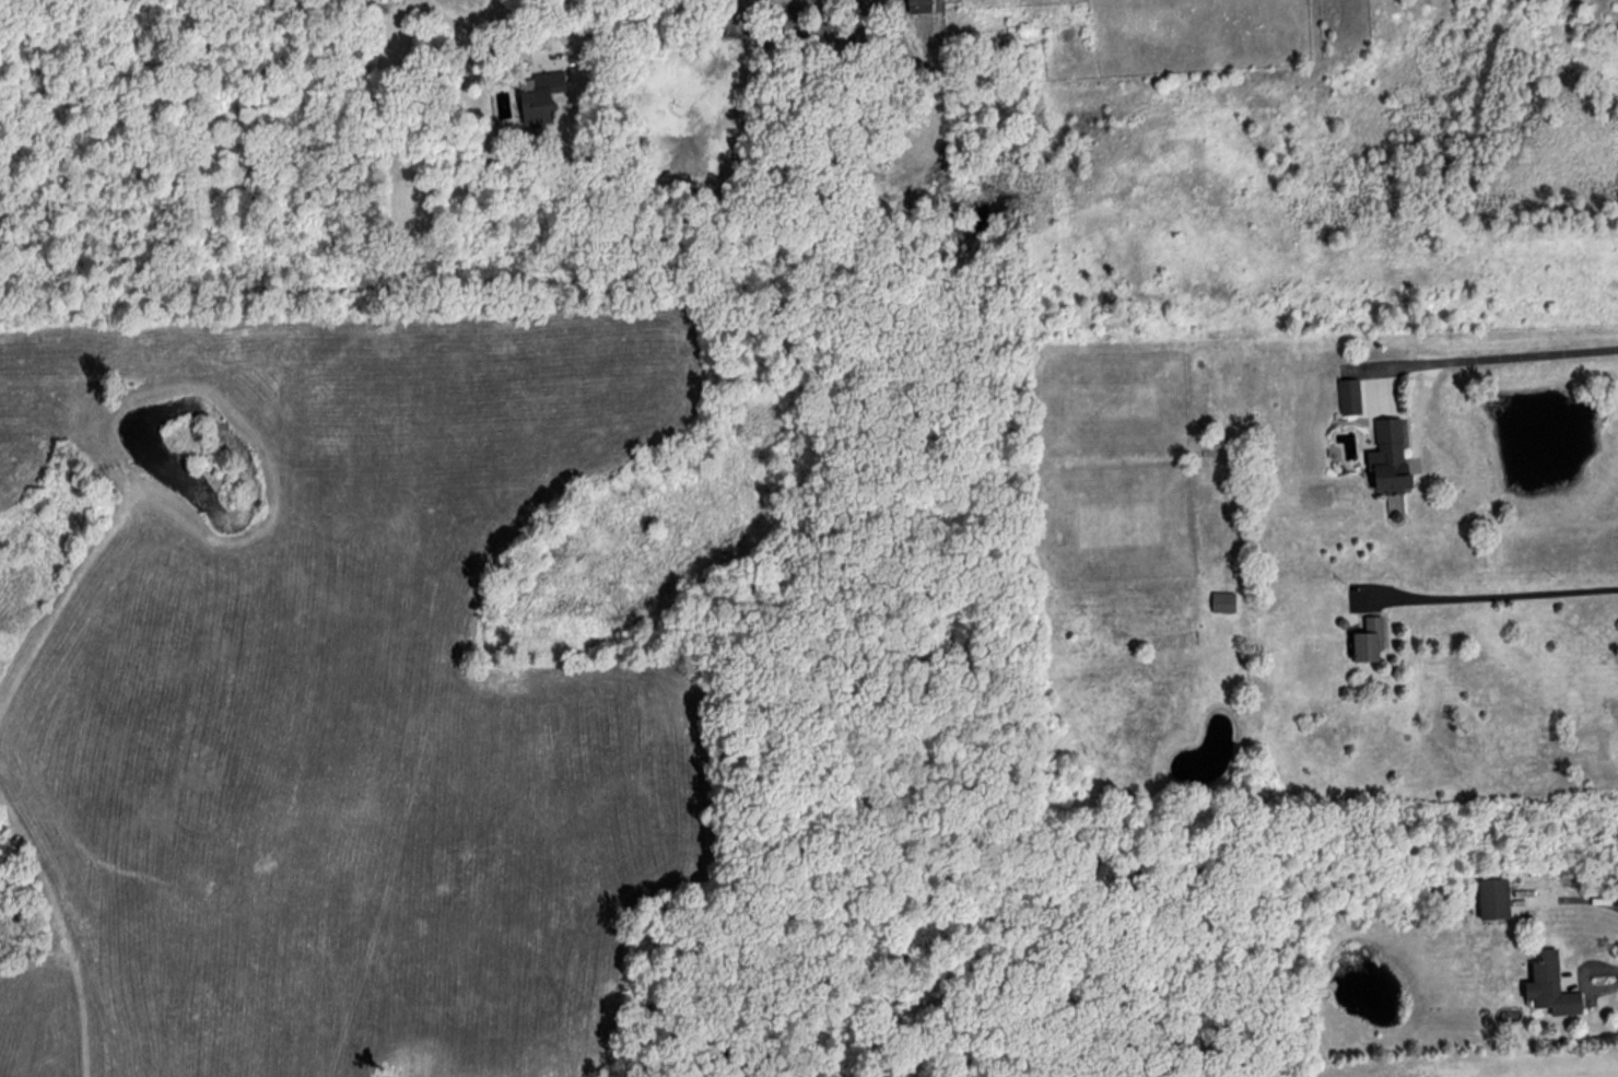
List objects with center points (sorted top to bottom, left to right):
building: (915, 5)
road: (469, 31)
building: (536, 97)
road: (934, 98)
road: (1491, 356)
building: (1347, 397)
building: (1386, 457)
road: (1496, 594)
building: (1221, 601)
building: (1365, 640)
building: (1491, 898)
road: (1564, 899)
road: (1581, 980)
building: (1548, 985)

